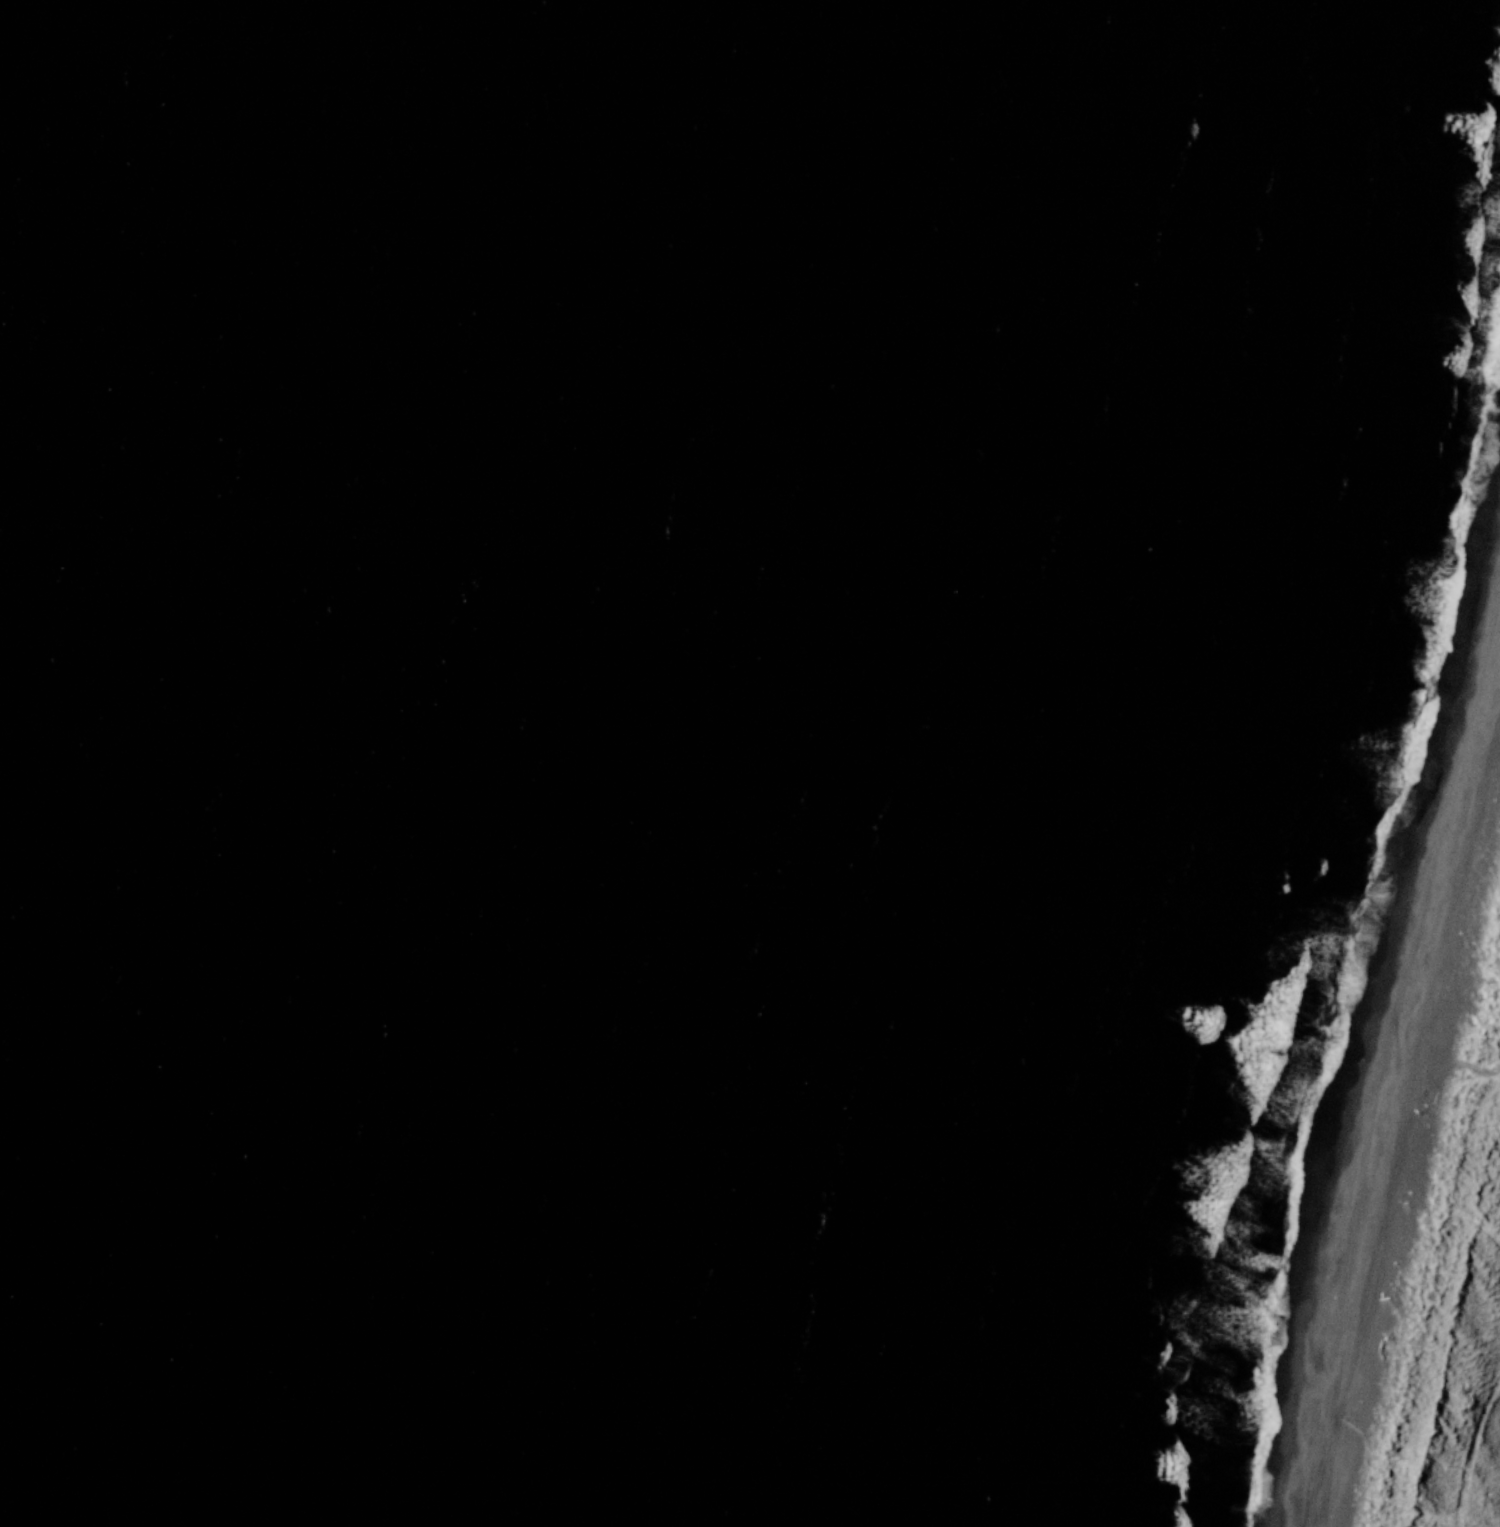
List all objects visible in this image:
road: (1467, 1447)

